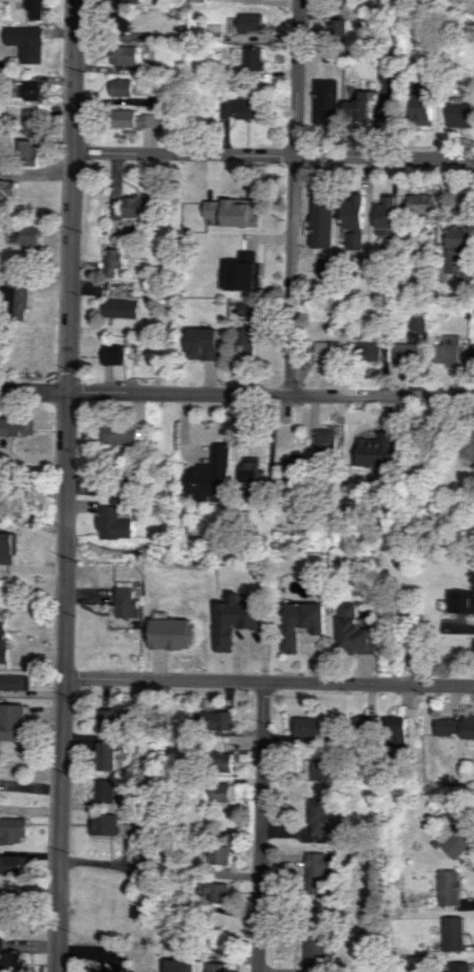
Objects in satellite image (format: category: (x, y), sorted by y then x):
building: (127, 0)
building: (36, 8)
building: (124, 22)
building: (249, 22)
building: (336, 27)
building: (31, 46)
building: (124, 54)
building: (328, 54)
building: (252, 58)
building: (385, 72)
building: (121, 87)
building: (28, 90)
building: (325, 101)
building: (424, 103)
building: (357, 107)
building: (240, 109)
building: (459, 114)
building: (133, 119)
building: (32, 121)
building: (27, 152)
road: (273, 154)
building: (6, 188)
road: (302, 197)
building: (420, 203)
building: (321, 205)
building: (135, 206)
building: (230, 212)
building: (354, 212)
building: (387, 216)
building: (27, 236)
building: (456, 252)
building: (248, 256)
building: (113, 261)
building: (243, 276)
building: (19, 292)
building: (120, 308)
building: (416, 324)
building: (248, 341)
building: (203, 343)
building: (327, 350)
building: (447, 350)
building: (366, 351)
building: (405, 352)
building: (472, 353)
building: (114, 355)
road: (236, 393)
building: (18, 426)
building: (121, 434)
building: (325, 442)
building: (375, 450)
building: (292, 466)
building: (212, 474)
building: (251, 474)
road: (66, 486)
building: (113, 523)
building: (7, 548)
building: (461, 601)
building: (125, 602)
building: (234, 620)
building: (300, 622)
building: (352, 631)
building: (173, 637)
building: (2, 642)
road: (268, 681)
building: (13, 682)
building: (106, 718)
building: (215, 718)
building: (12, 721)
building: (361, 724)
building: (305, 725)
building: (455, 726)
building: (392, 730)
building: (105, 755)
building: (219, 760)
building: (316, 768)
building: (105, 790)
building: (224, 791)
building: (317, 815)
building: (105, 824)
road: (259, 826)
building: (12, 829)
building: (457, 840)
building: (218, 852)
building: (149, 867)
building: (317, 871)
building: (10, 874)
building: (445, 887)
building: (218, 889)
road: (30, 898)
building: (450, 934)
building: (311, 944)
building: (13, 960)
building: (215, 966)
building: (457, 966)
building: (180, 969)
building: (101, 971)

